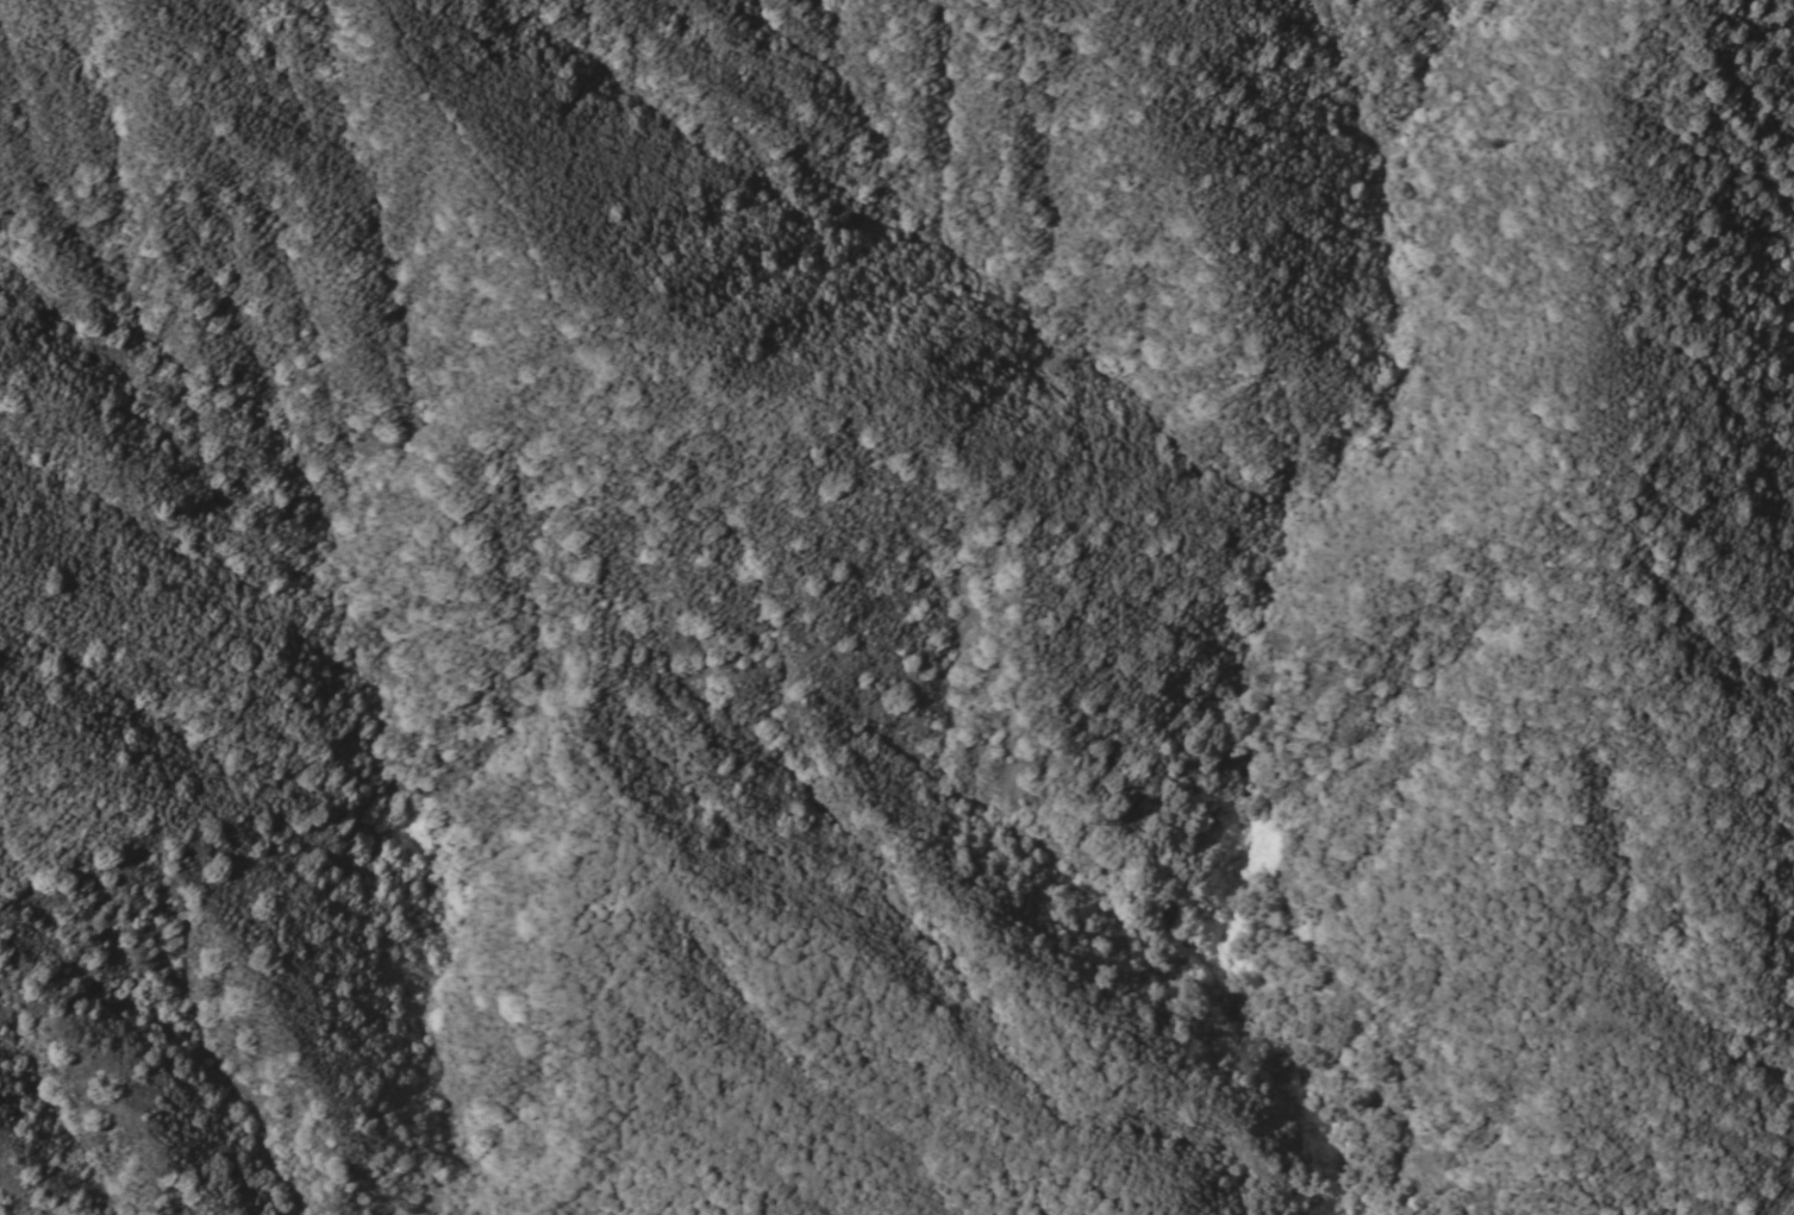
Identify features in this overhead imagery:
park: (896, 740)

